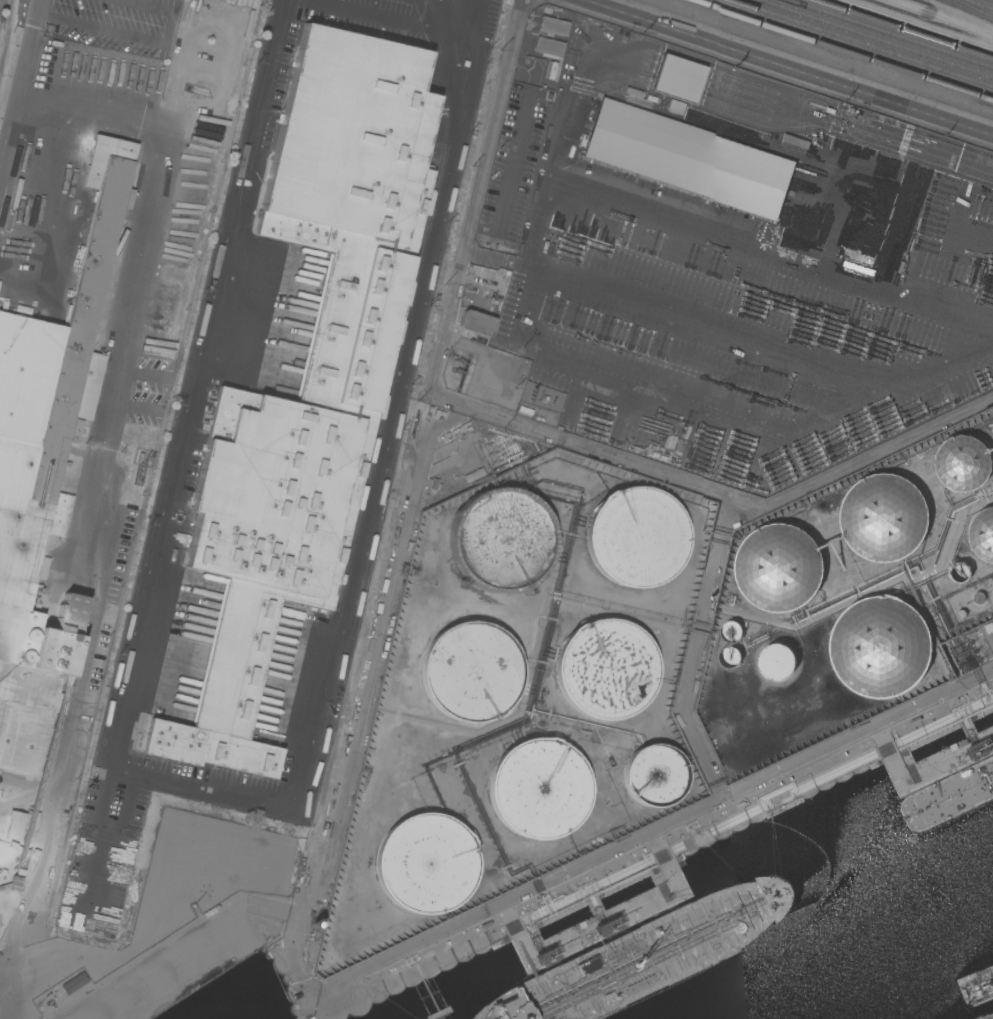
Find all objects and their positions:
railway: (992, 0)
railway: (976, 5)
road: (172, 7)
railway: (972, 8)
road: (160, 11)
railway: (928, 20)
road: (396, 23)
building: (552, 26)
road: (100, 28)
railway: (904, 29)
railway: (889, 34)
railway: (876, 38)
railway: (8, 41)
railway: (861, 43)
building: (547, 47)
railway: (842, 50)
road: (785, 67)
building: (676, 79)
road: (19, 83)
building: (674, 107)
building: (688, 159)
road: (59, 225)
road: (133, 285)
road: (216, 302)
building: (476, 323)
road: (430, 367)
building: (307, 373)
road: (879, 451)
building: (963, 463)
building: (45, 474)
building: (473, 475)
building: (884, 517)
building: (982, 534)
building: (635, 537)
building: (501, 540)
building: (114, 554)
road: (351, 561)
building: (779, 567)
building: (960, 572)
building: (731, 631)
building: (881, 646)
building: (730, 656)
building: (777, 661)
building: (604, 669)
building: (470, 672)
building: (653, 776)
building: (537, 789)
building: (14, 829)
building: (424, 864)
building: (14, 883)
building: (74, 983)

